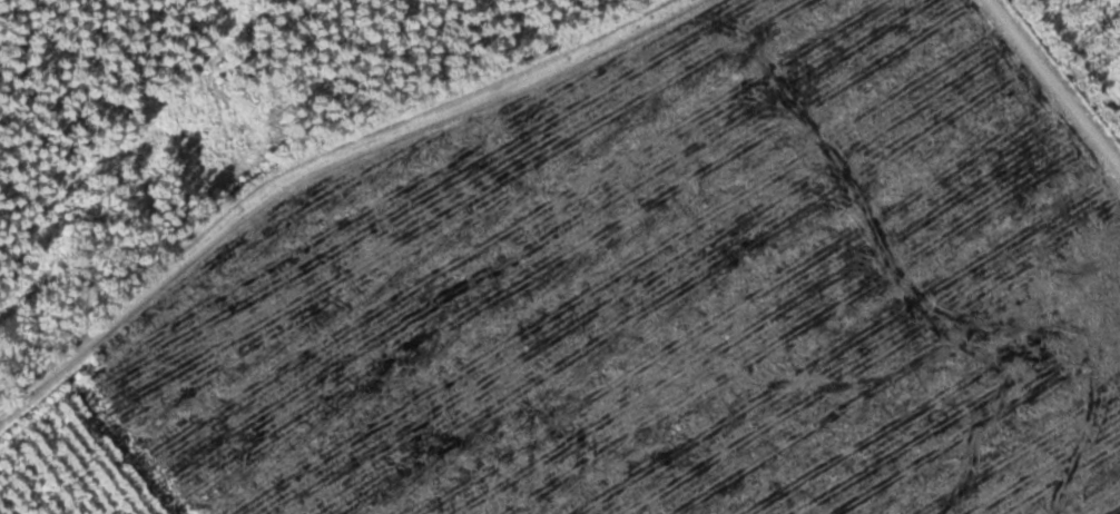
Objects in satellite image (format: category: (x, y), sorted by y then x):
road: (1057, 81)
road: (313, 170)

